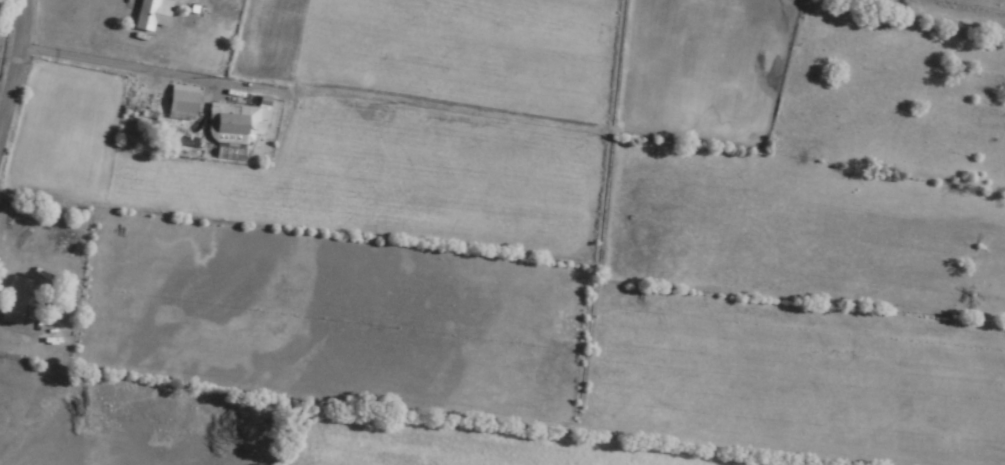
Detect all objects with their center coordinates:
building: (152, 15)
road: (14, 63)
building: (182, 100)
building: (232, 125)
building: (15, 301)

